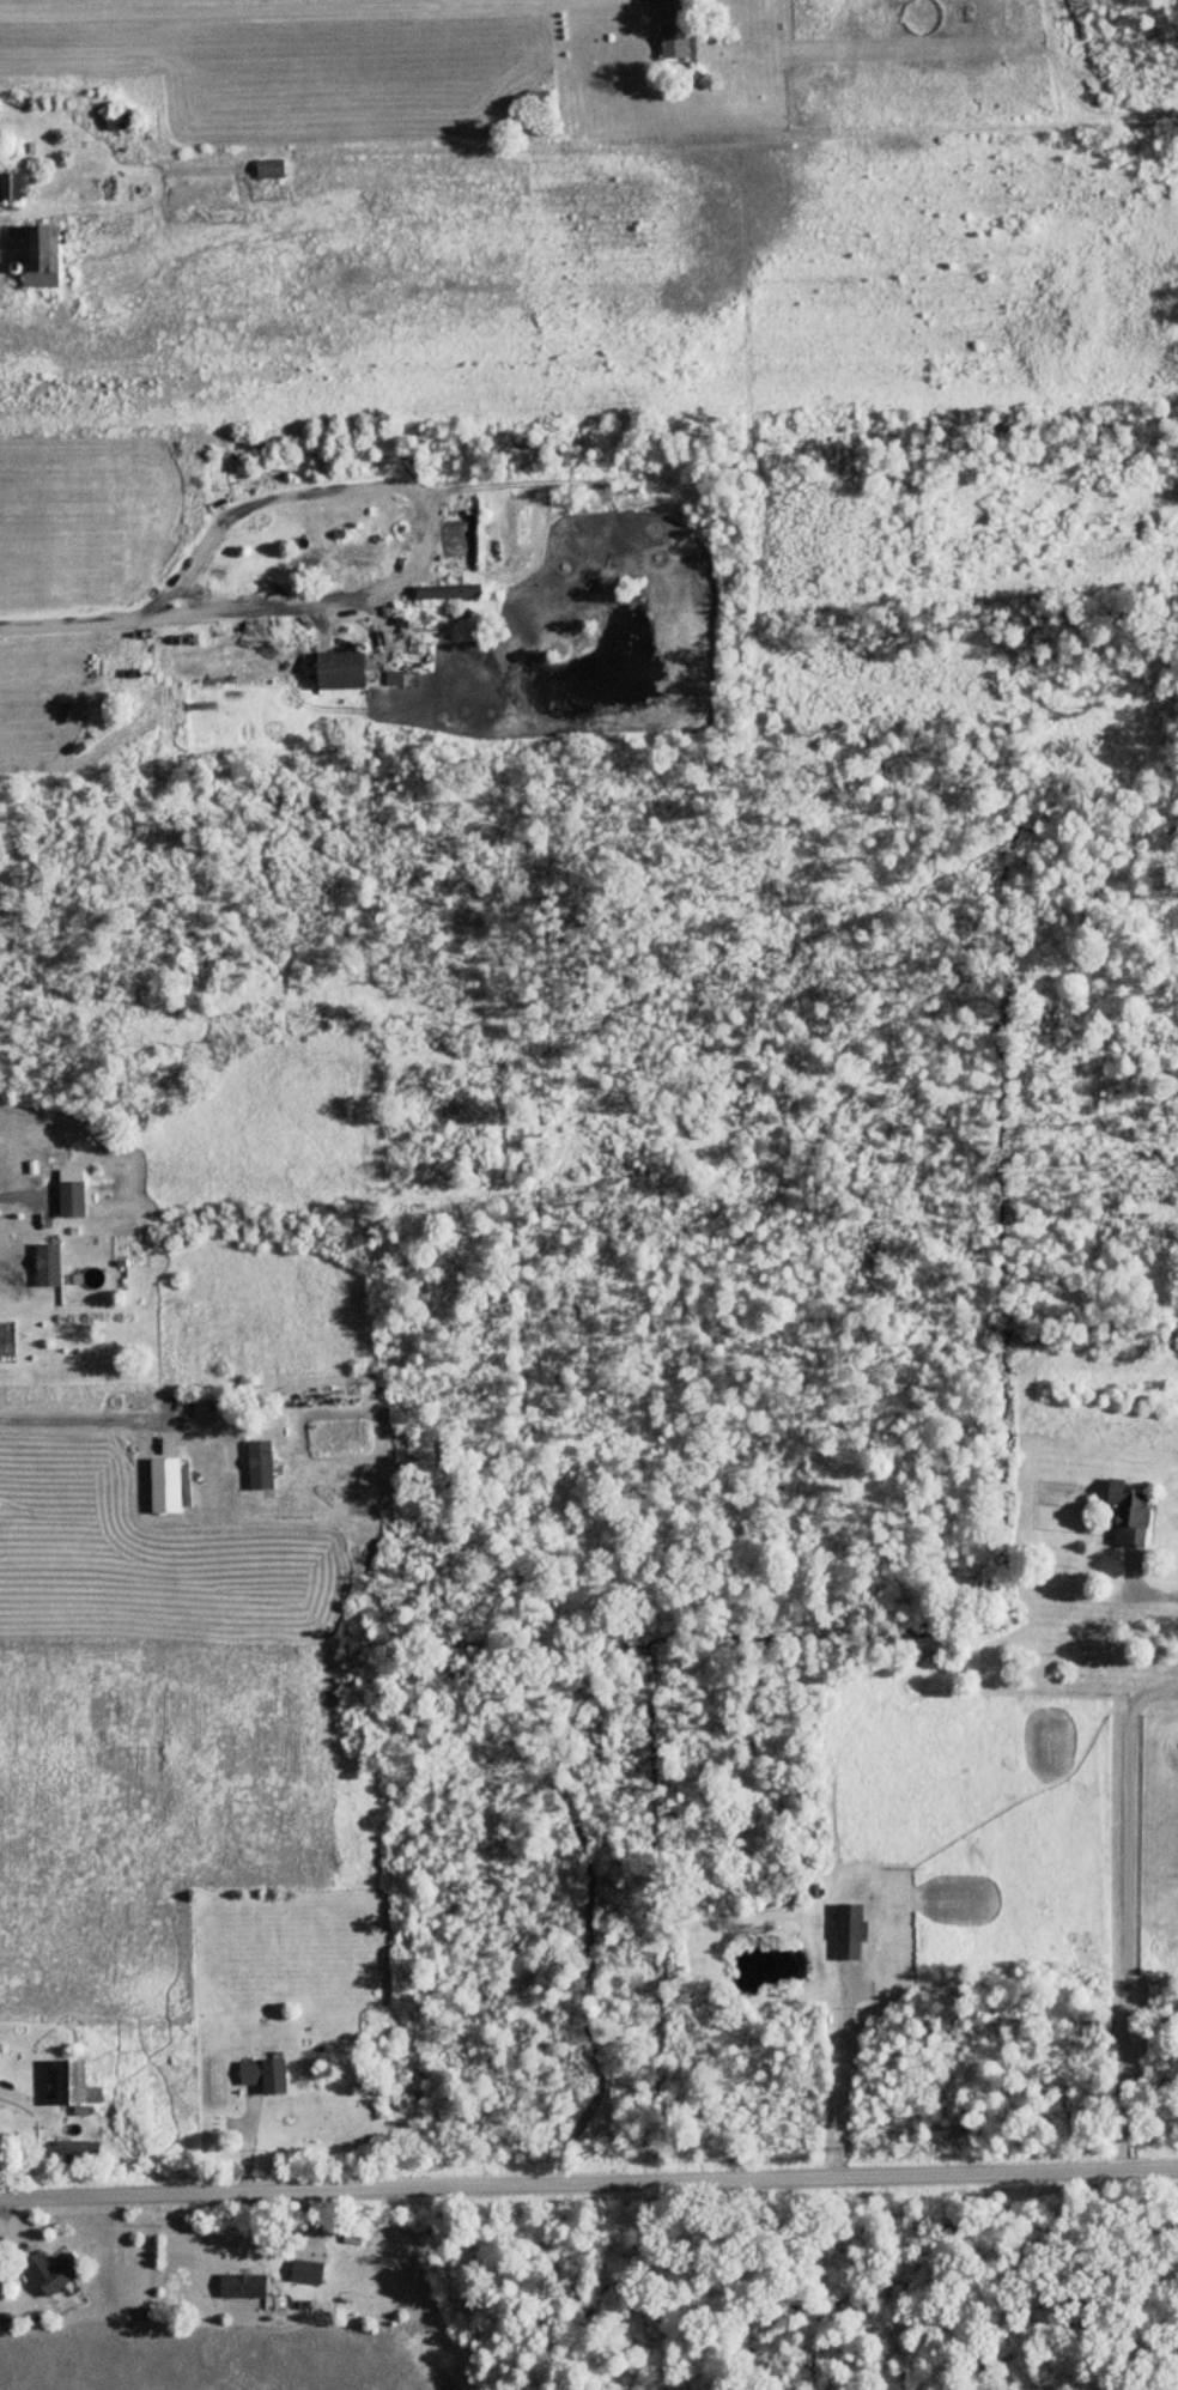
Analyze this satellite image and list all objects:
road: (321, 7)
building: (674, 28)
building: (272, 169)
building: (12, 187)
building: (41, 256)
road: (427, 509)
building: (449, 590)
road: (71, 623)
building: (341, 669)
road: (18, 1199)
building: (73, 1200)
building: (49, 1266)
road: (84, 1424)
building: (262, 1466)
building: (166, 1486)
building: (1130, 1515)
road: (1155, 1587)
road: (1128, 1913)
building: (851, 1931)
building: (266, 2074)
road: (843, 2076)
building: (75, 2086)
building: (79, 2152)
road: (588, 2184)
building: (54, 2271)
building: (308, 2271)
building: (243, 2286)

